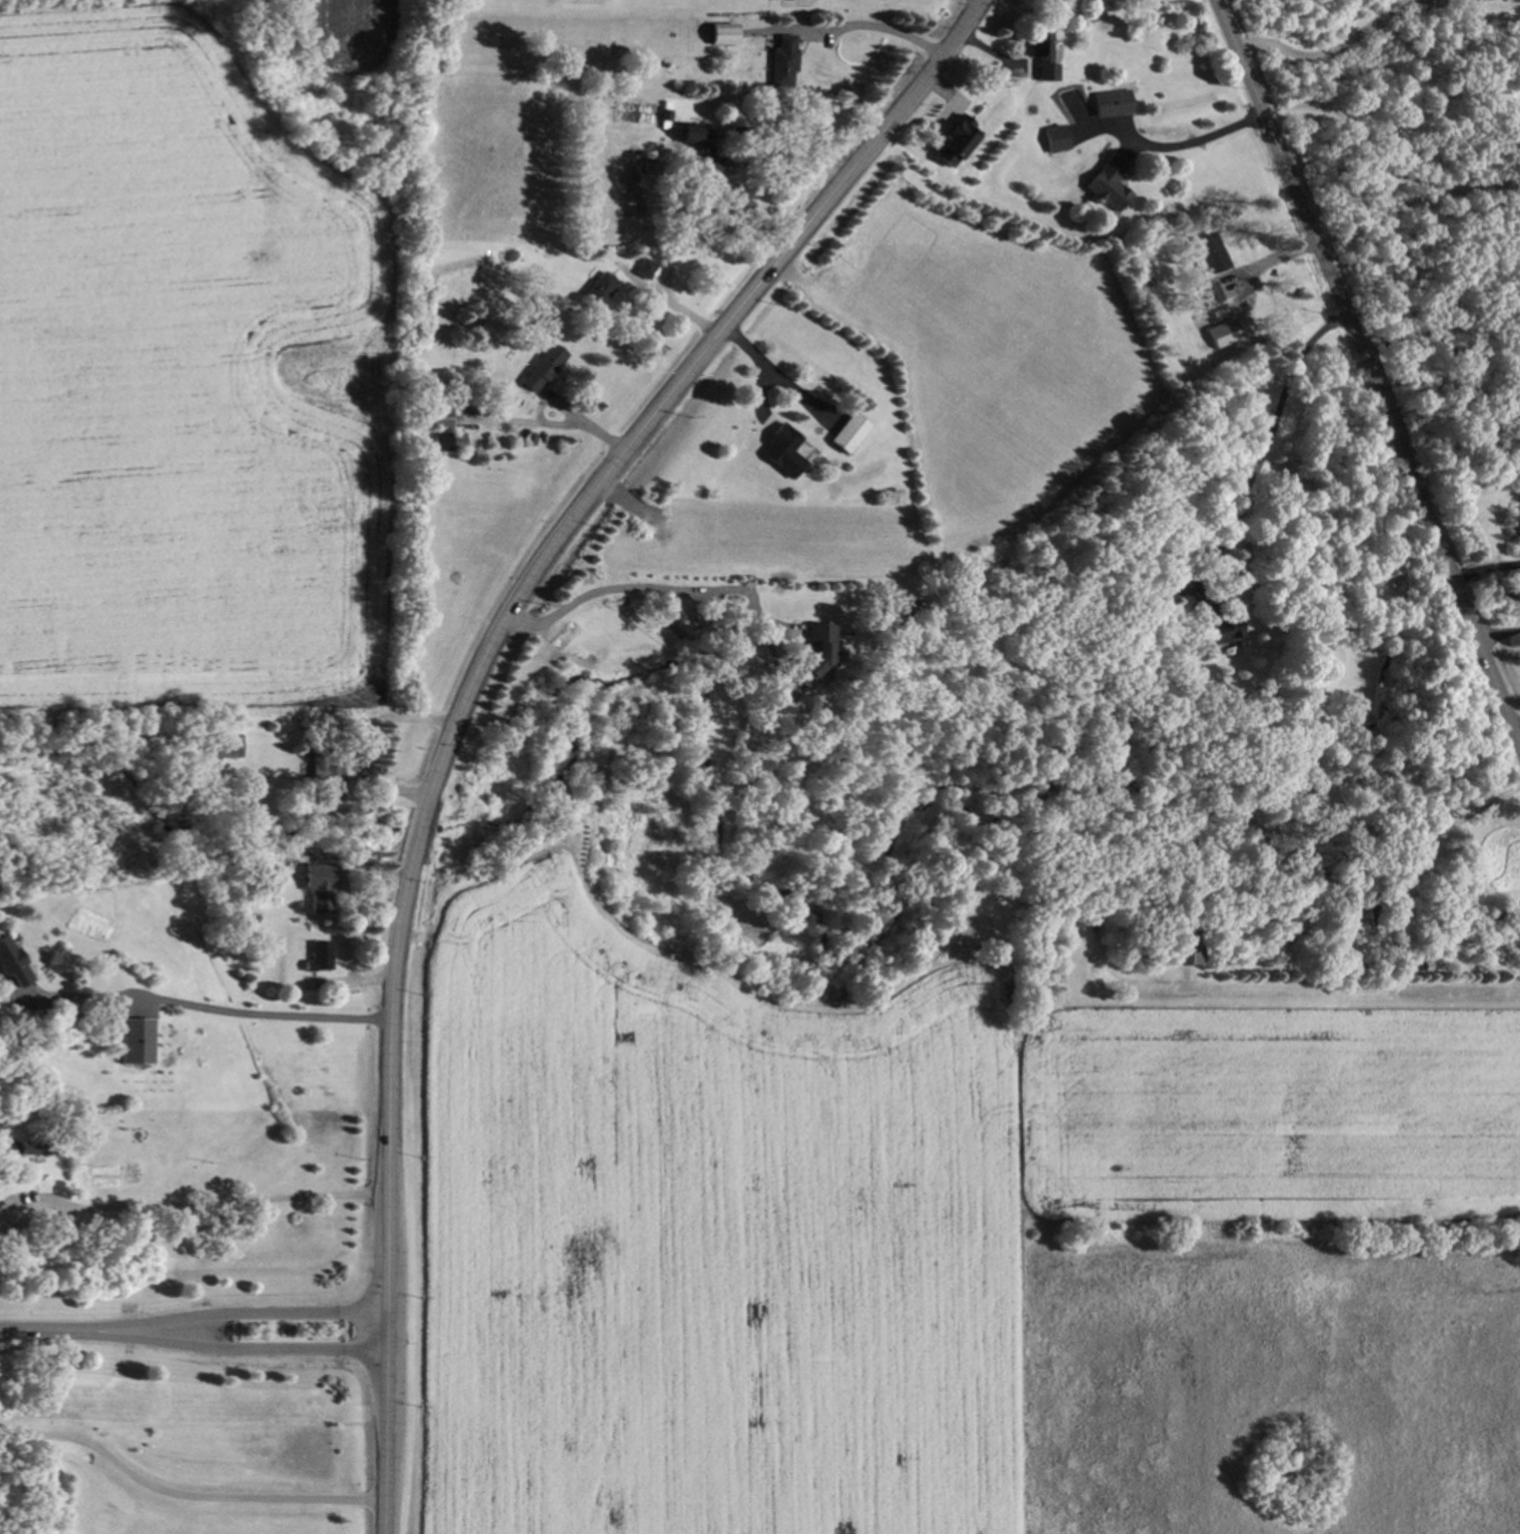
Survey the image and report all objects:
road: (863, 24)
building: (719, 33)
road: (1328, 51)
building: (1040, 55)
building: (780, 60)
building: (1111, 102)
building: (689, 131)
building: (1053, 138)
building: (951, 140)
road: (1195, 142)
building: (712, 167)
road: (1384, 169)
building: (1106, 183)
building: (738, 202)
building: (1209, 252)
road: (1271, 259)
building: (642, 268)
building: (596, 288)
building: (1207, 293)
building: (1221, 332)
building: (540, 366)
road: (1369, 367)
crop: (173, 377)
building: (439, 418)
road: (582, 420)
building: (847, 432)
building: (445, 441)
road: (1264, 447)
building: (780, 450)
road: (1487, 570)
road: (645, 589)
building: (1163, 594)
building: (1219, 629)
road: (1499, 632)
building: (817, 654)
road: (470, 688)
road: (1518, 725)
road: (358, 740)
building: (225, 745)
building: (326, 776)
road: (1416, 855)
building: (318, 888)
building: (1185, 947)
building: (317, 956)
building: (12, 963)
road: (1318, 992)
road: (204, 1010)
building: (136, 1041)
building: (32, 1147)
road: (201, 1203)
crop: (947, 1256)
road: (235, 1313)
road: (43, 1330)
road: (235, 1349)
road: (184, 1499)

